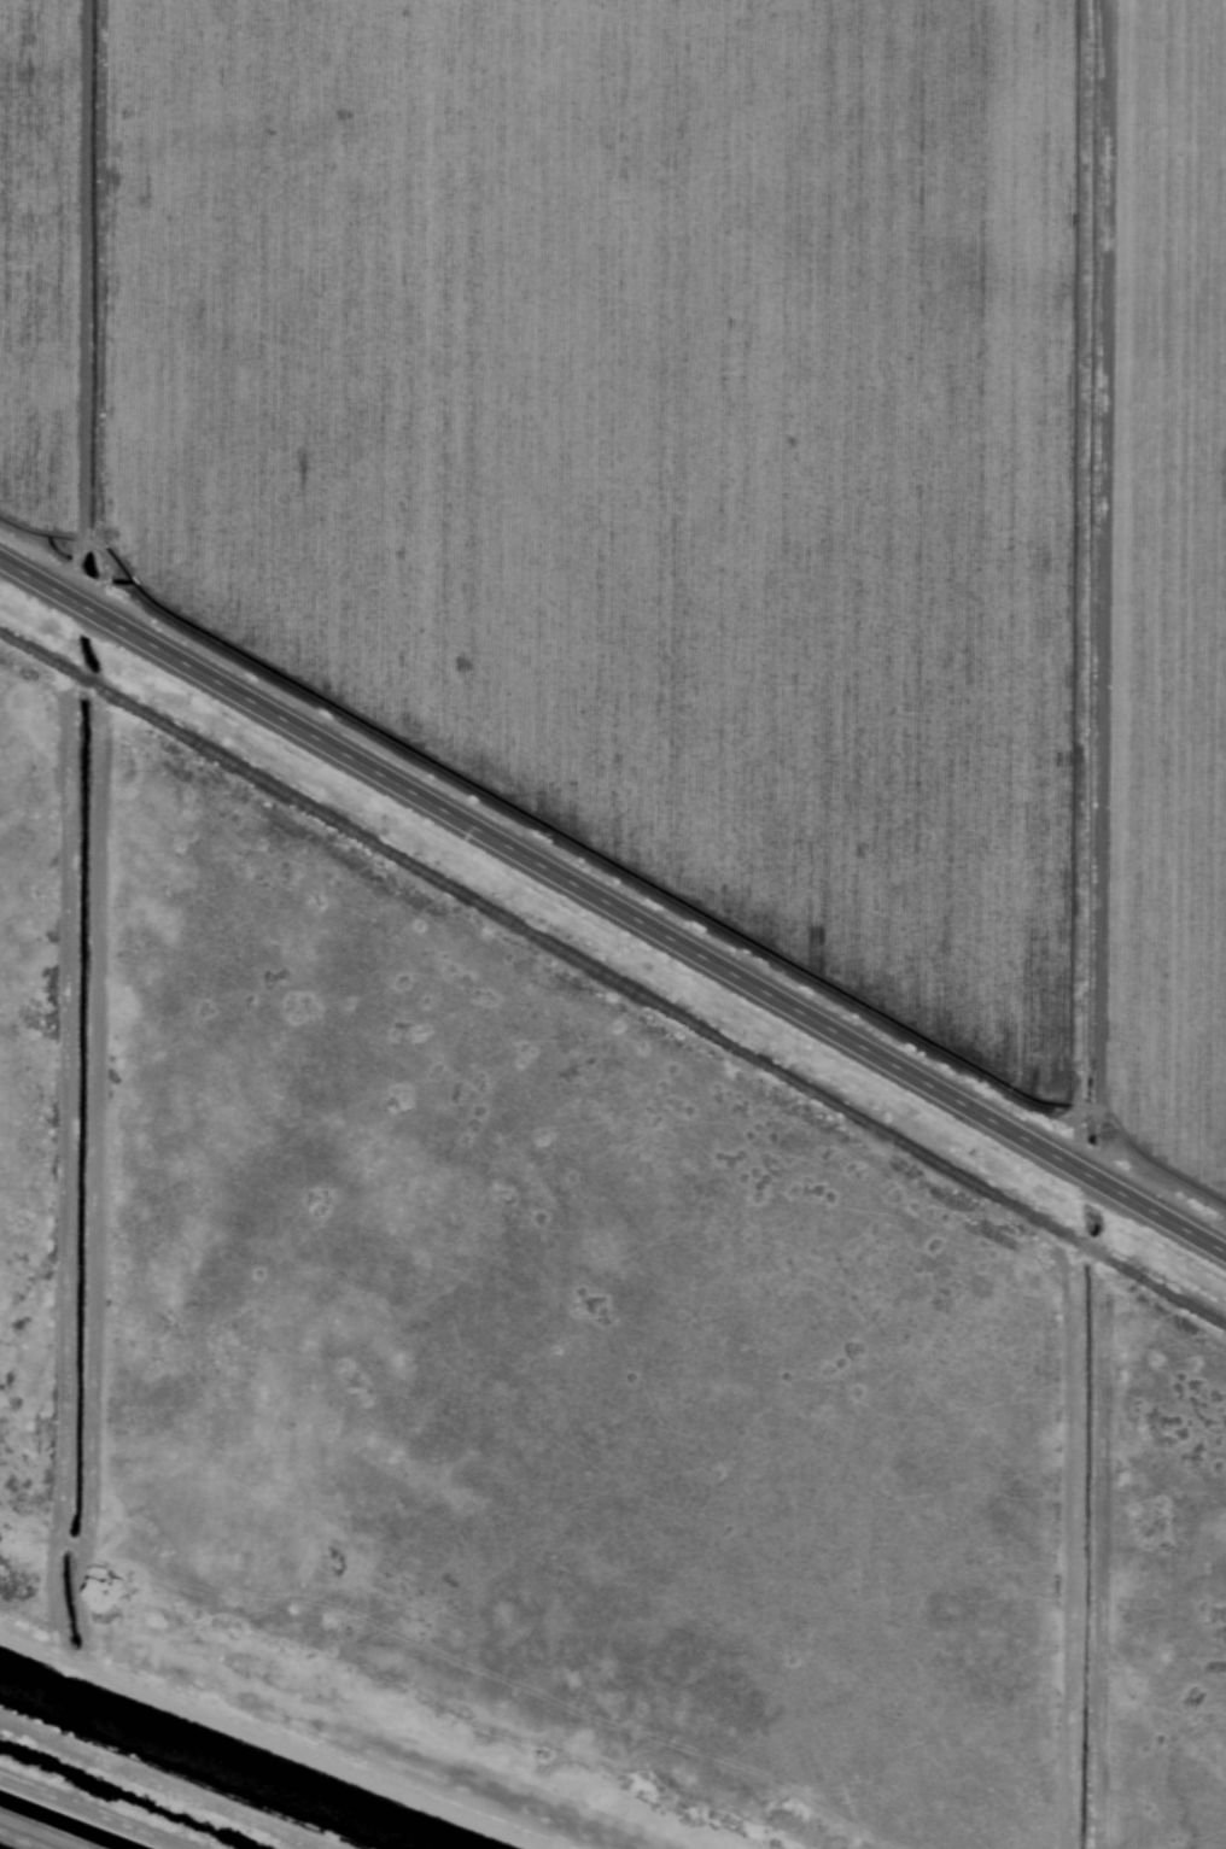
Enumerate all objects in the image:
crop: (695, 460)
road: (613, 902)
railway: (613, 981)
road: (363, 1707)
road: (74, 1819)

